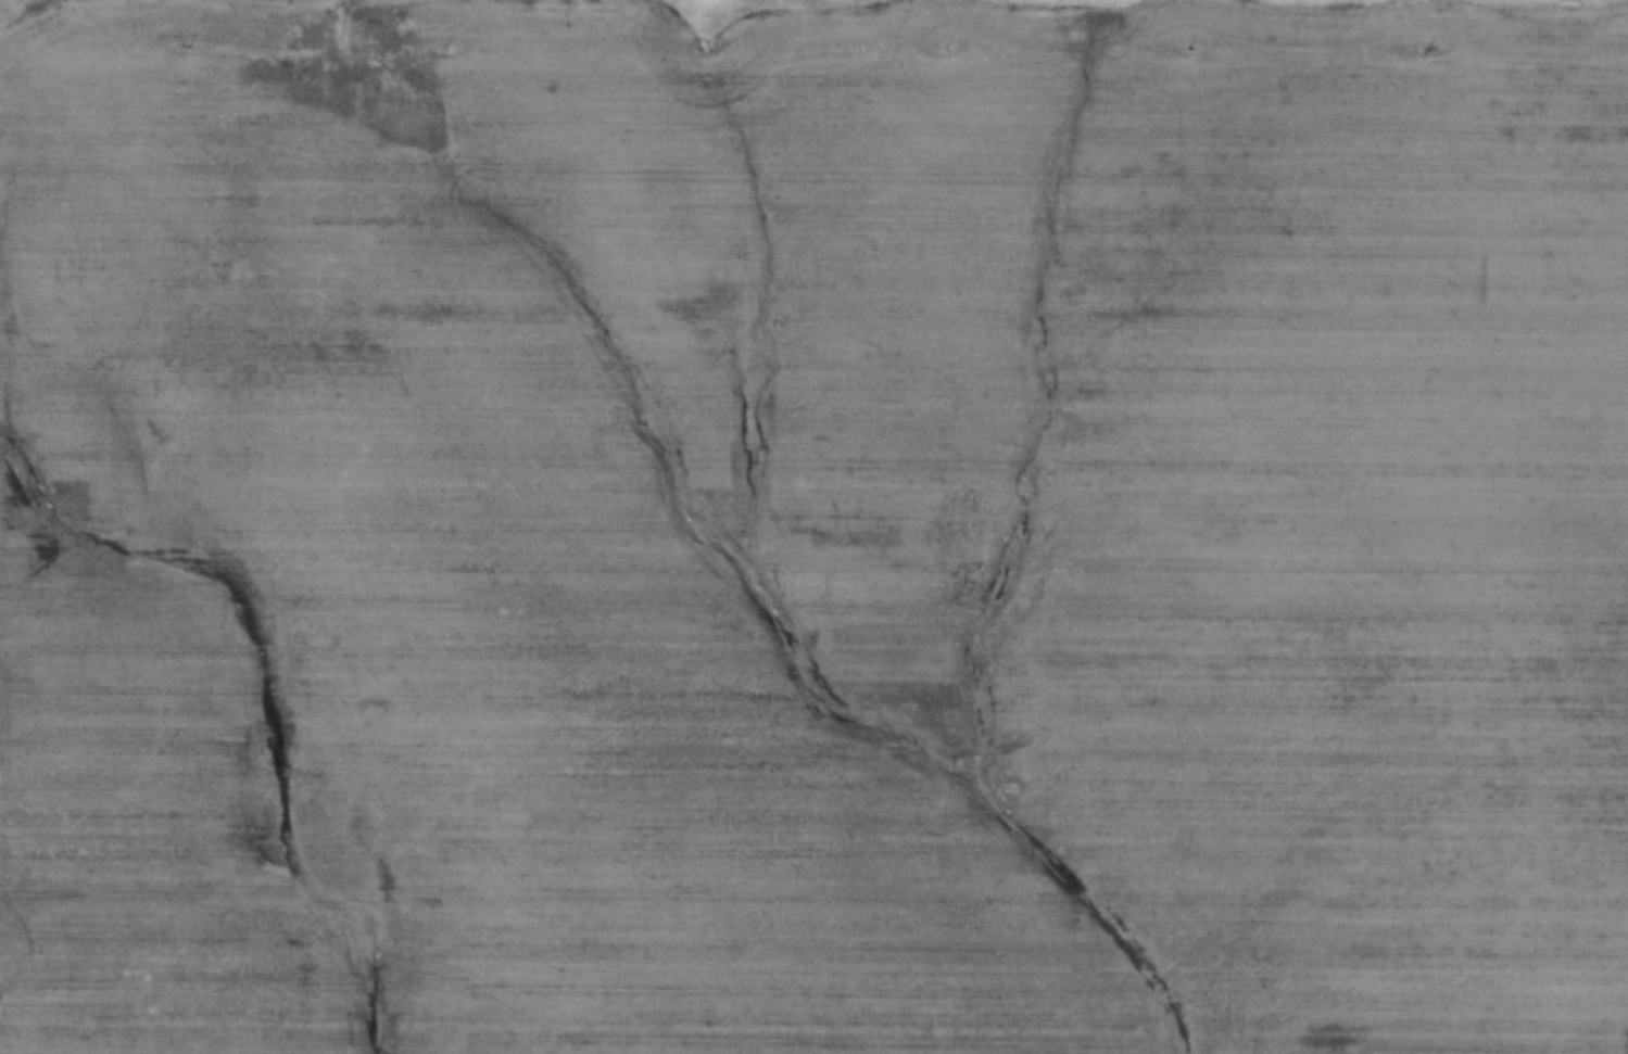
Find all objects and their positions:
road: (1063, 2)

